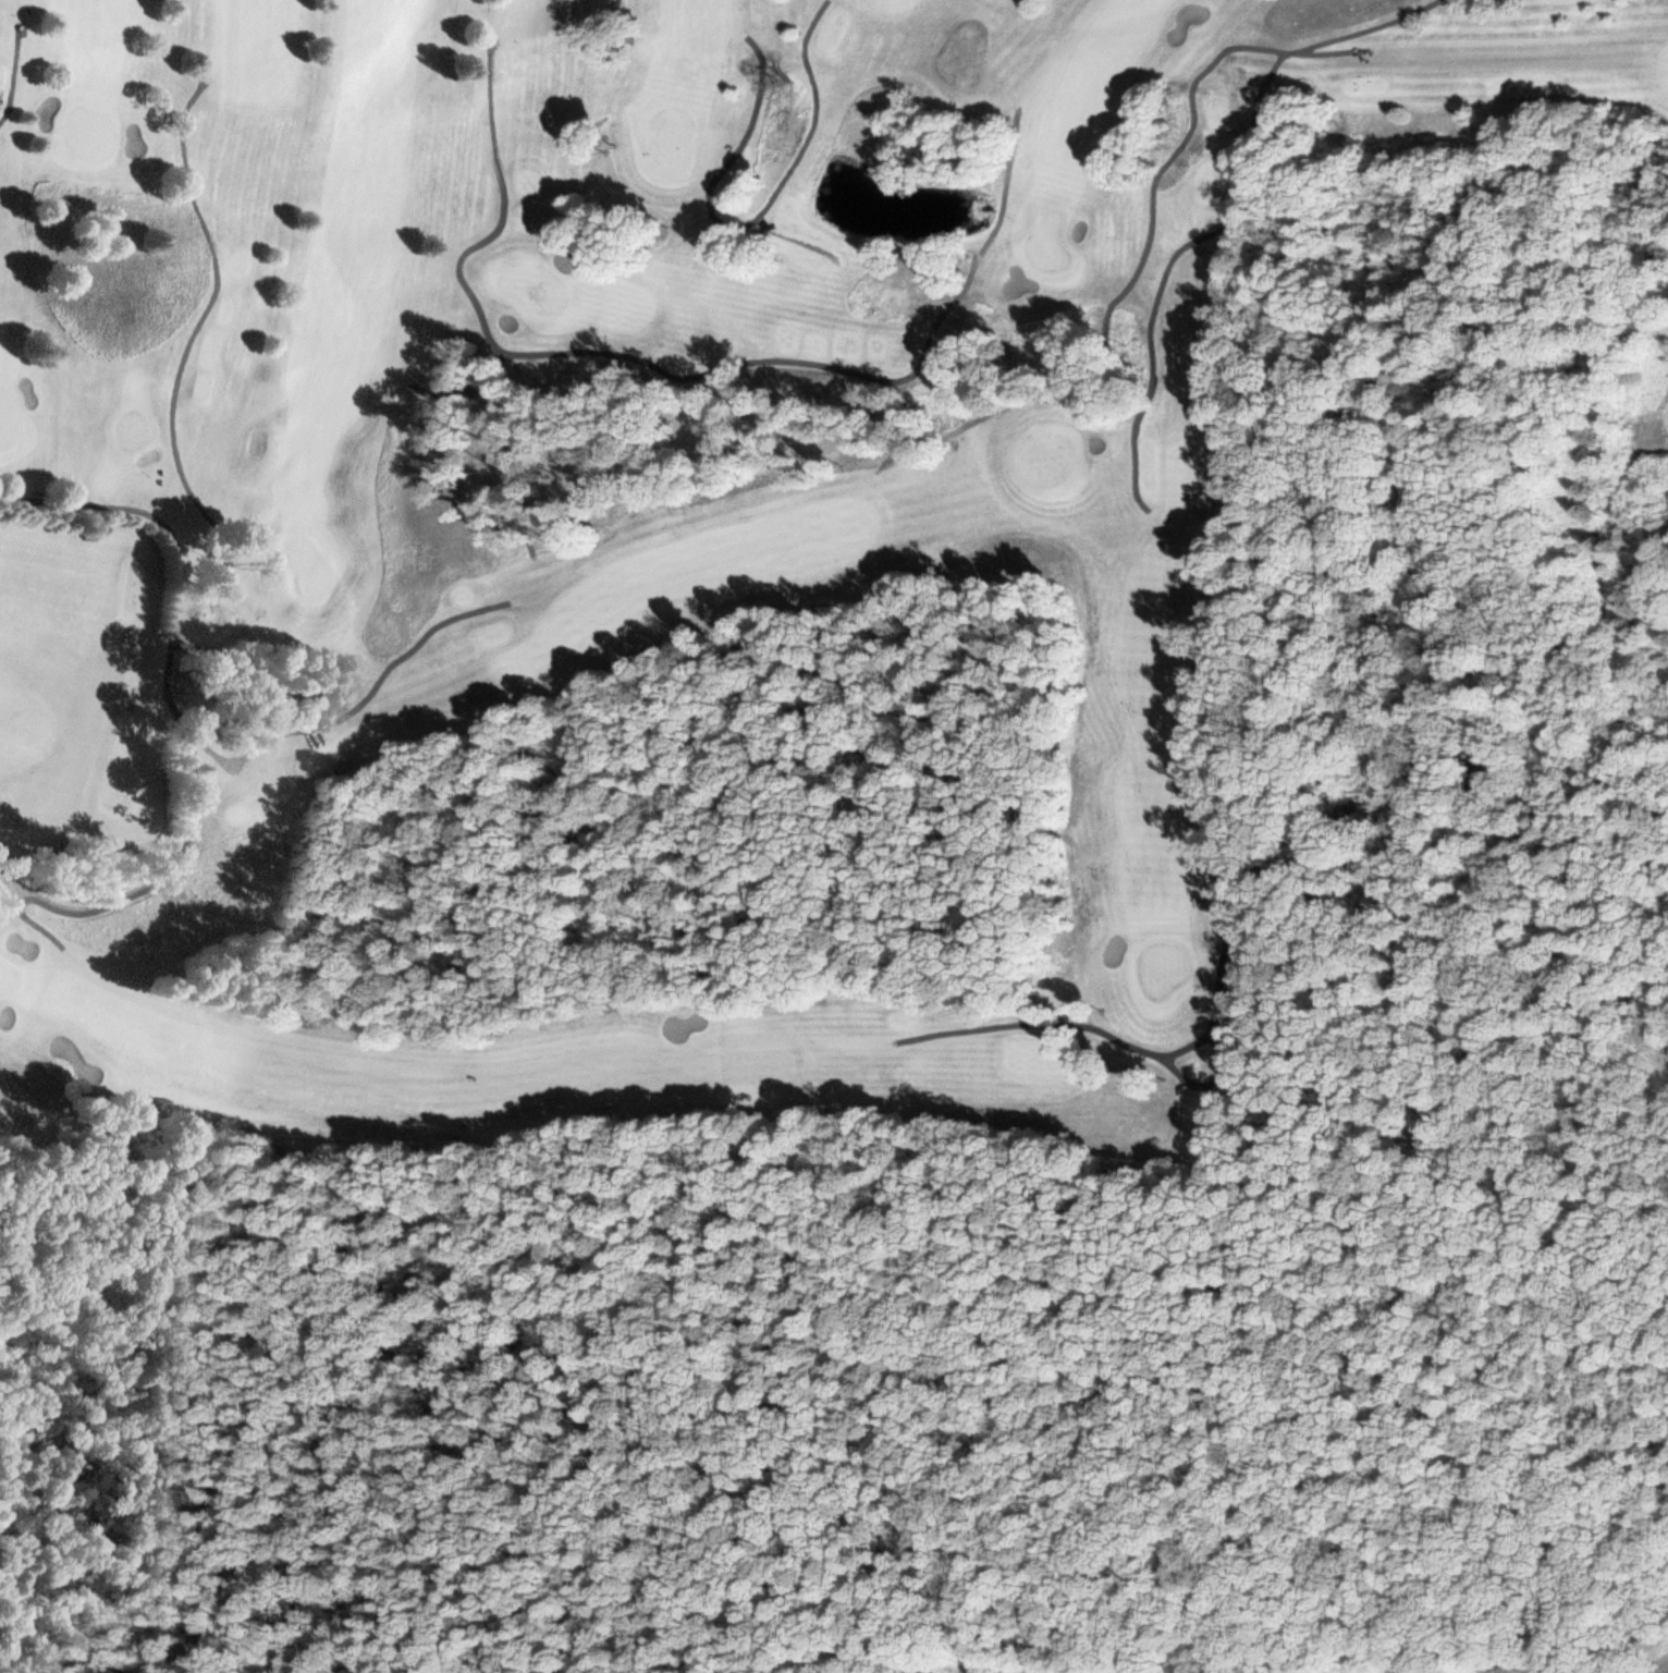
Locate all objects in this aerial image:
road: (1384, 412)
park: (667, 559)
building: (138, 738)
building: (142, 797)
road: (1603, 852)
road: (1260, 897)
road: (981, 1247)
road: (1635, 1666)

